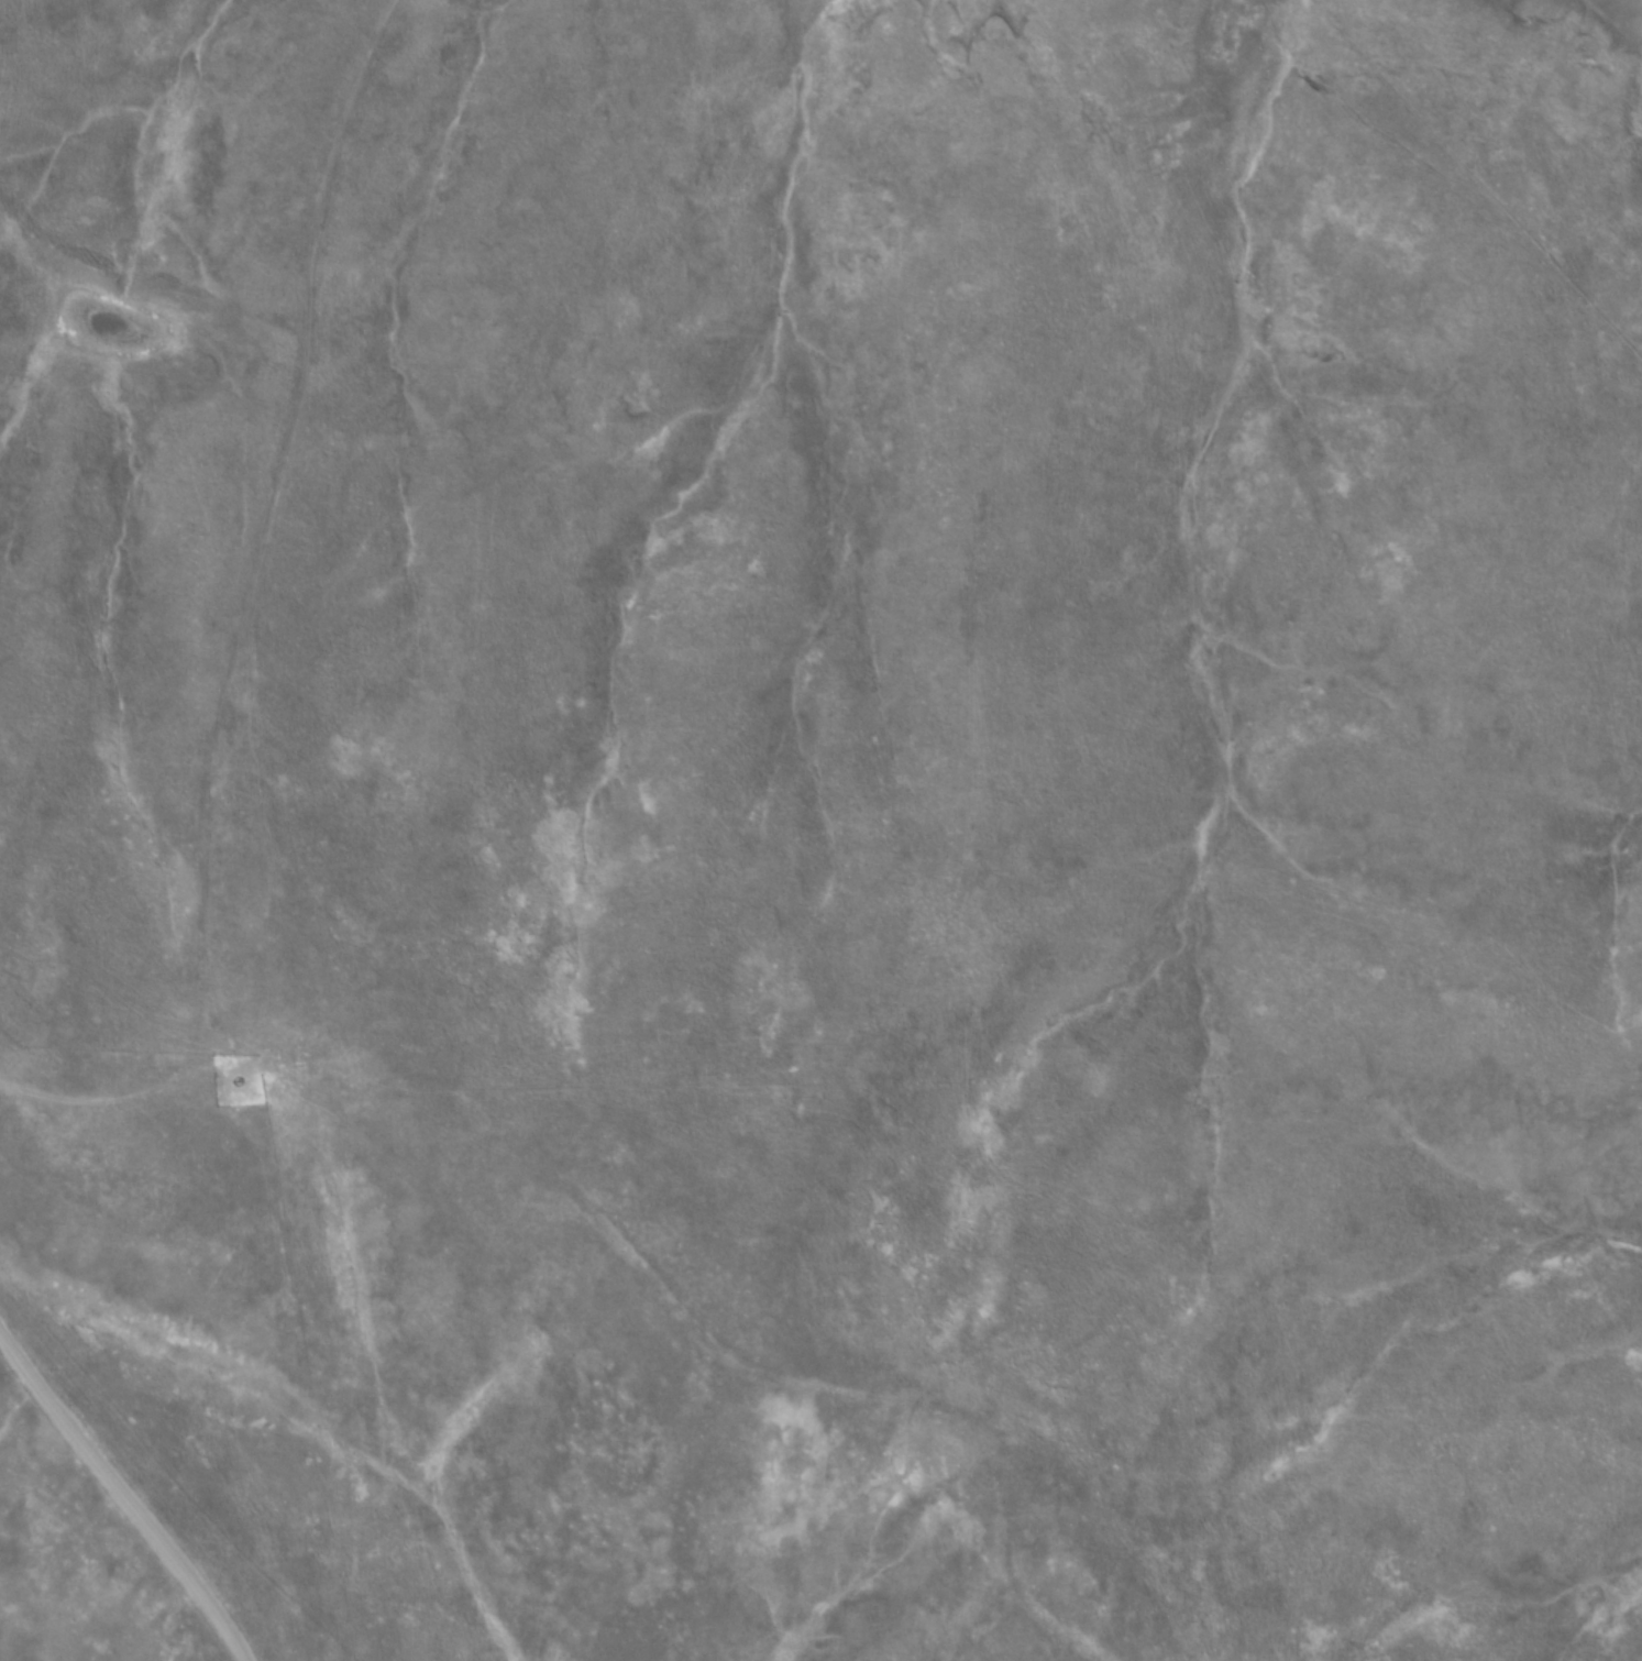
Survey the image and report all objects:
road: (126, 1492)

